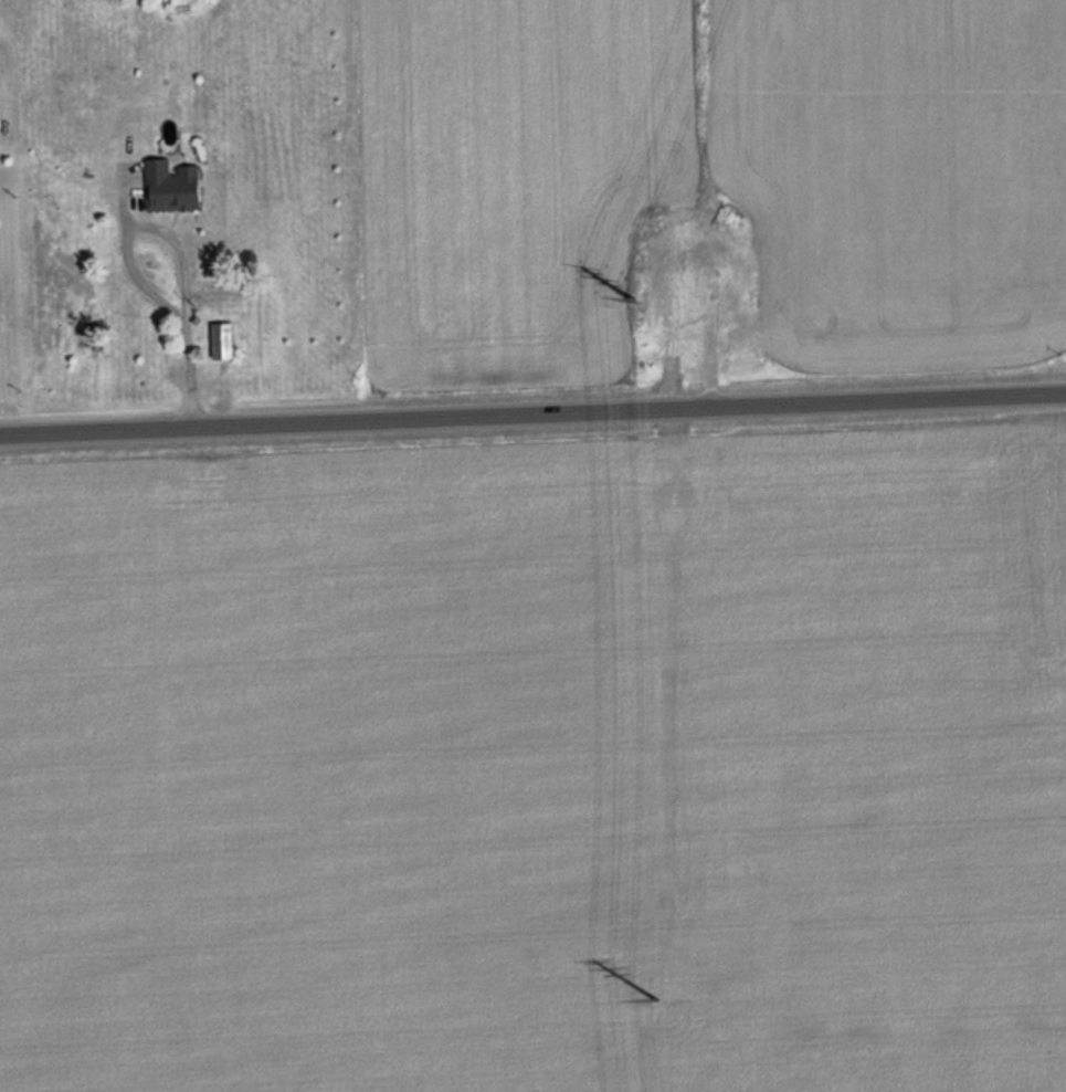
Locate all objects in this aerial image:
building: (169, 186)
power tower: (625, 290)
building: (219, 340)
road: (532, 418)
power tower: (653, 996)

